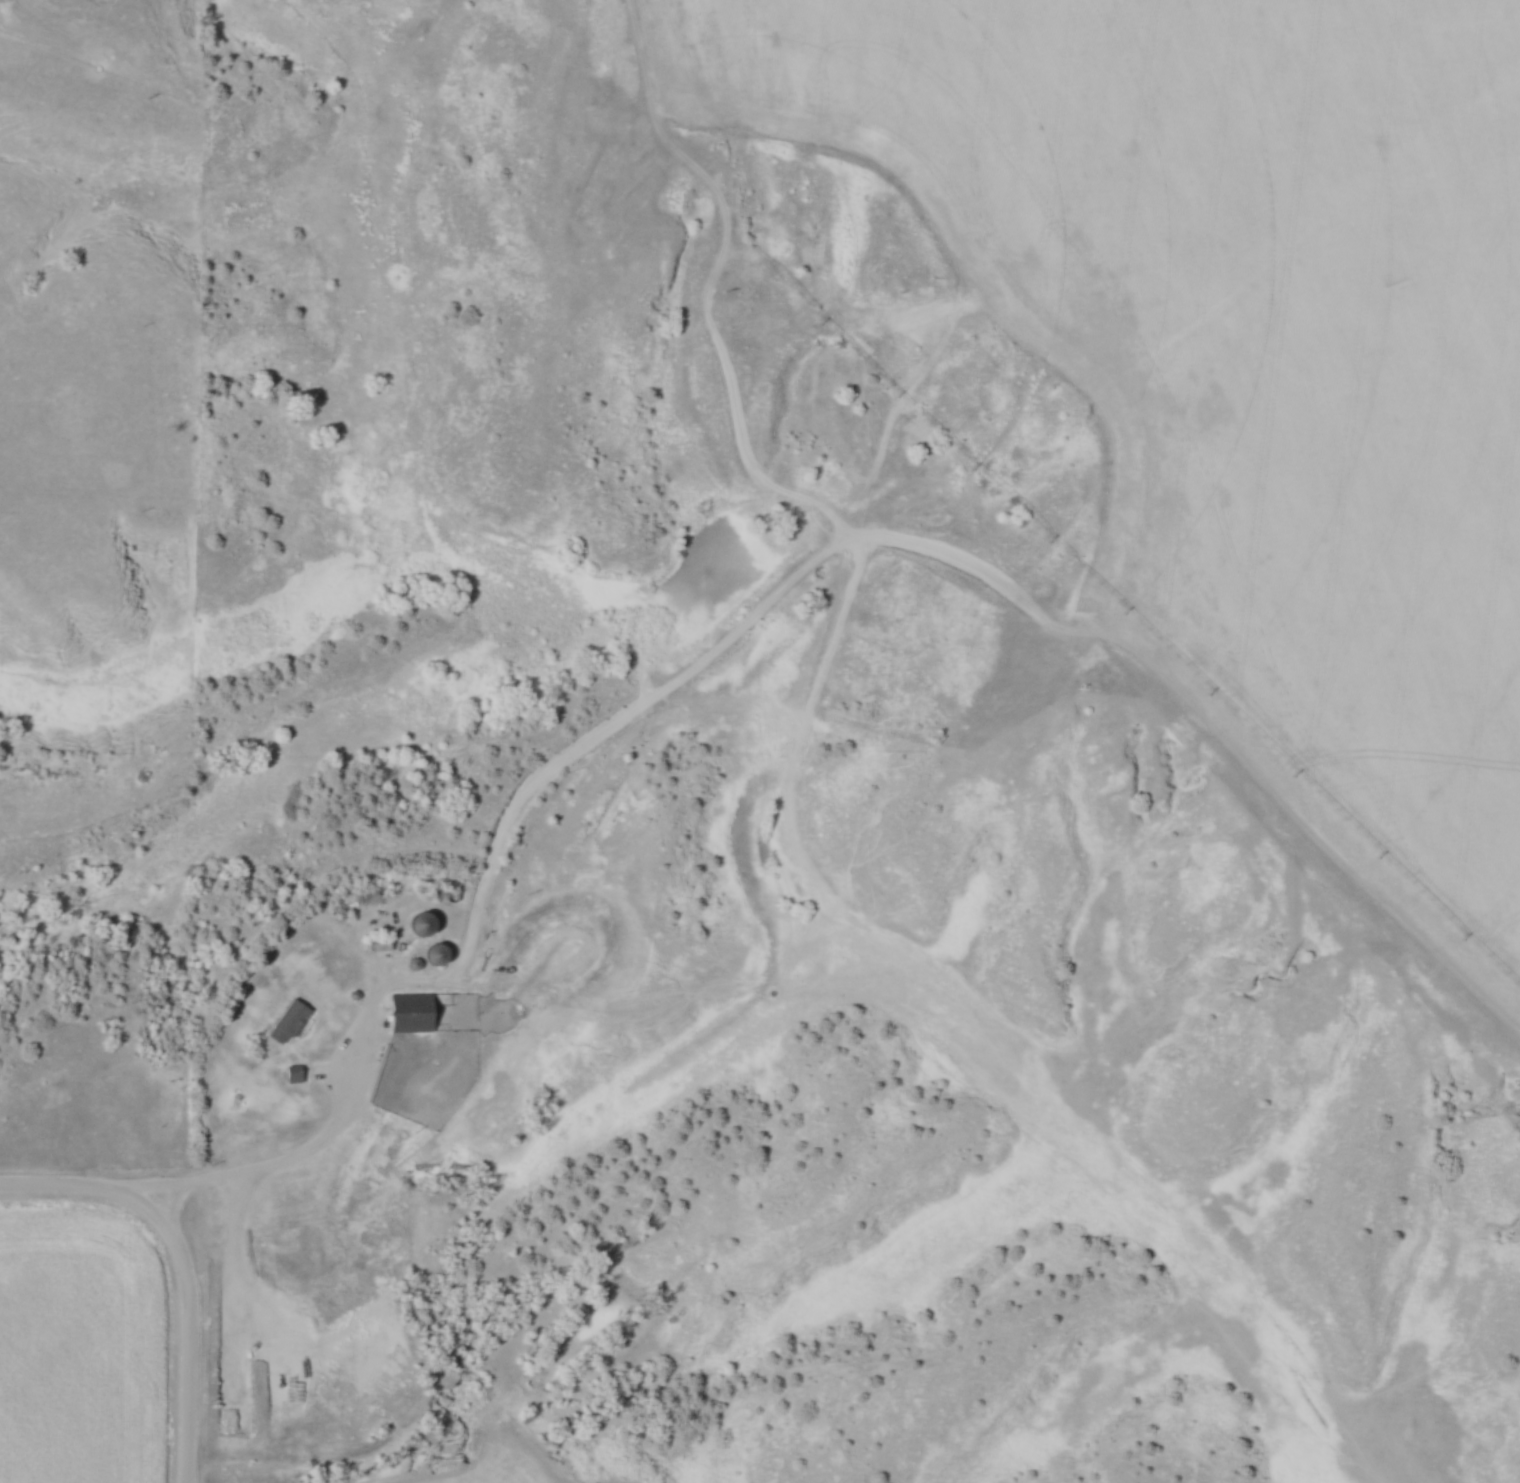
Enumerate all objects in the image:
crop: (1248, 359)
building: (422, 923)
building: (437, 955)
building: (411, 1013)
building: (292, 1017)
road: (308, 1149)
road: (59, 1183)
road: (187, 1320)

